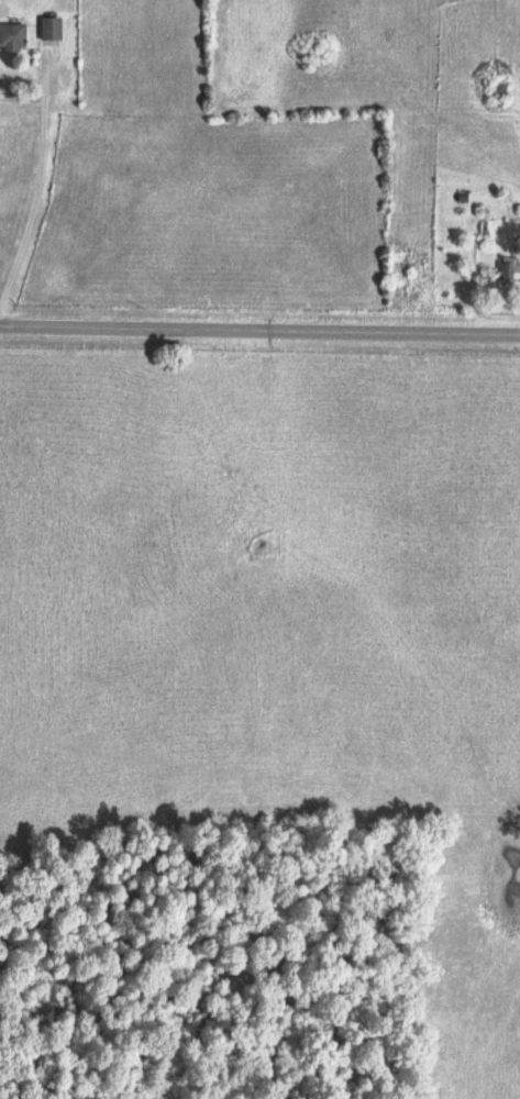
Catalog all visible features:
building: (53, 29)
building: (13, 37)
road: (34, 191)
building: (506, 271)
road: (259, 329)

